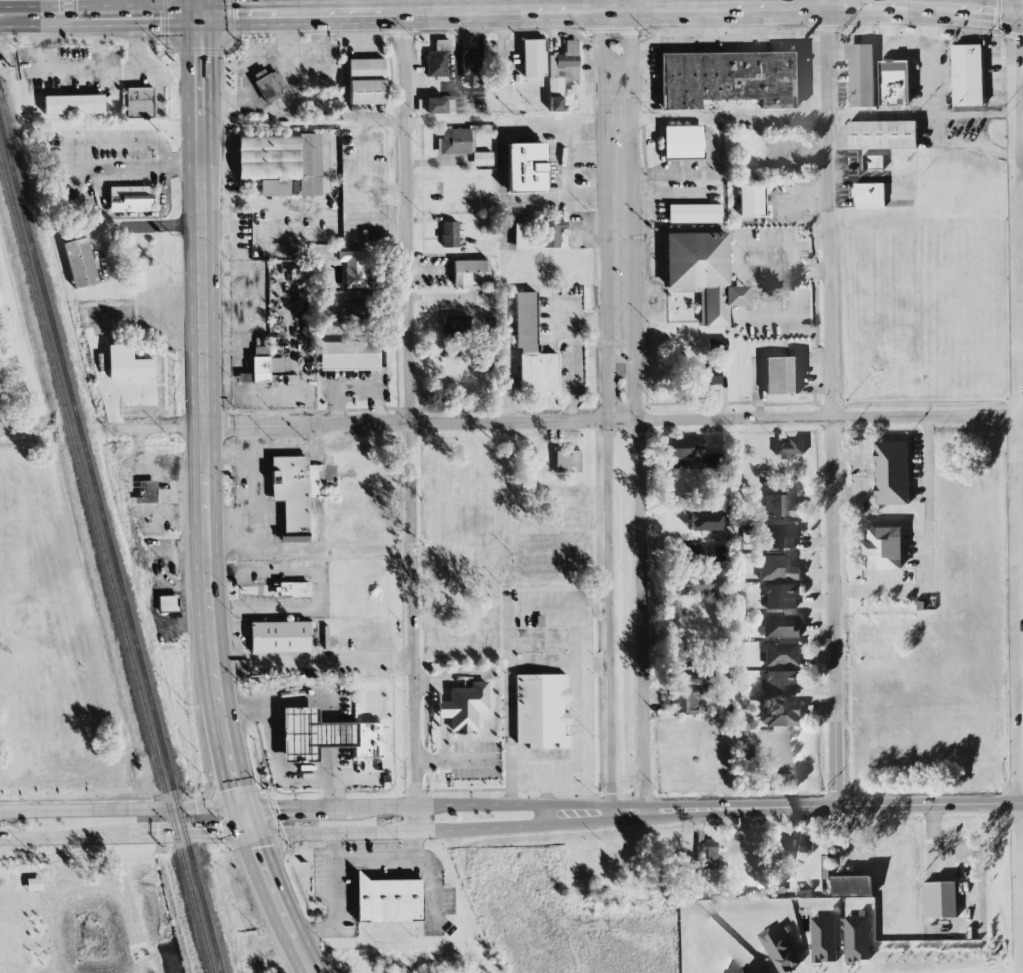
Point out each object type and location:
road: (825, 4)
road: (630, 5)
road: (603, 6)
road: (401, 7)
road: (69, 8)
road: (117, 8)
road: (194, 8)
road: (200, 8)
road: (290, 8)
road: (1007, 8)
road: (670, 10)
road: (304, 15)
road: (244, 16)
road: (21, 17)
road: (80, 17)
road: (157, 17)
traffic signals: (197, 17)
road: (892, 44)
road: (481, 55)
building: (532, 58)
building: (438, 59)
road: (932, 61)
building: (470, 67)
road: (70, 70)
road: (198, 71)
road: (457, 71)
building: (562, 73)
building: (861, 75)
building: (966, 76)
building: (516, 79)
building: (730, 79)
building: (366, 81)
building: (893, 84)
building: (268, 85)
building: (138, 104)
building: (450, 104)
building: (72, 105)
building: (436, 105)
road: (971, 114)
road: (880, 115)
road: (730, 118)
road: (505, 120)
road: (302, 123)
road: (932, 132)
building: (881, 136)
building: (454, 141)
building: (679, 143)
road: (199, 144)
road: (978, 144)
building: (480, 160)
road: (72, 162)
building: (280, 162)
building: (872, 164)
building: (523, 169)
road: (1017, 173)
road: (367, 177)
road: (567, 177)
building: (869, 195)
building: (128, 199)
building: (748, 202)
building: (694, 213)
road: (127, 215)
road: (151, 224)
building: (552, 232)
building: (449, 234)
building: (518, 238)
building: (79, 263)
building: (353, 268)
road: (783, 271)
building: (470, 273)
building: (703, 274)
road: (1017, 307)
building: (353, 312)
road: (584, 322)
building: (455, 329)
building: (716, 344)
building: (532, 349)
road: (1021, 350)
building: (349, 356)
building: (486, 363)
building: (264, 365)
building: (711, 375)
building: (781, 376)
road: (573, 381)
road: (832, 407)
road: (638, 410)
road: (607, 411)
road: (408, 422)
road: (612, 423)
road: (165, 428)
road: (5, 432)
building: (685, 448)
building: (789, 448)
road: (232, 455)
road: (1022, 457)
building: (566, 461)
road: (158, 473)
building: (891, 474)
road: (861, 477)
road: (259, 482)
building: (147, 492)
building: (294, 493)
building: (780, 507)
building: (781, 536)
railway: (111, 546)
road: (927, 546)
road: (304, 549)
building: (885, 549)
building: (692, 551)
road: (320, 559)
railway: (105, 566)
building: (778, 568)
road: (208, 577)
building: (694, 584)
road: (319, 587)
road: (183, 589)
building: (294, 589)
building: (782, 596)
building: (167, 605)
road: (167, 622)
building: (782, 626)
road: (574, 635)
building: (279, 638)
building: (782, 655)
road: (315, 665)
road: (510, 674)
road: (428, 680)
building: (782, 683)
road: (443, 691)
building: (689, 700)
road: (279, 704)
building: (464, 707)
road: (443, 710)
building: (541, 710)
building: (781, 715)
building: (326, 736)
road: (331, 737)
road: (444, 740)
road: (576, 756)
road: (430, 761)
road: (278, 764)
road: (332, 778)
road: (213, 781)
road: (413, 805)
road: (800, 807)
road: (124, 809)
road: (418, 831)
road: (128, 837)
building: (805, 845)
road: (417, 846)
road: (333, 847)
building: (782, 847)
building: (708, 858)
road: (358, 860)
building: (853, 886)
building: (389, 900)
building: (938, 901)
building: (858, 939)
building: (825, 940)
building: (781, 949)
building: (747, 970)

